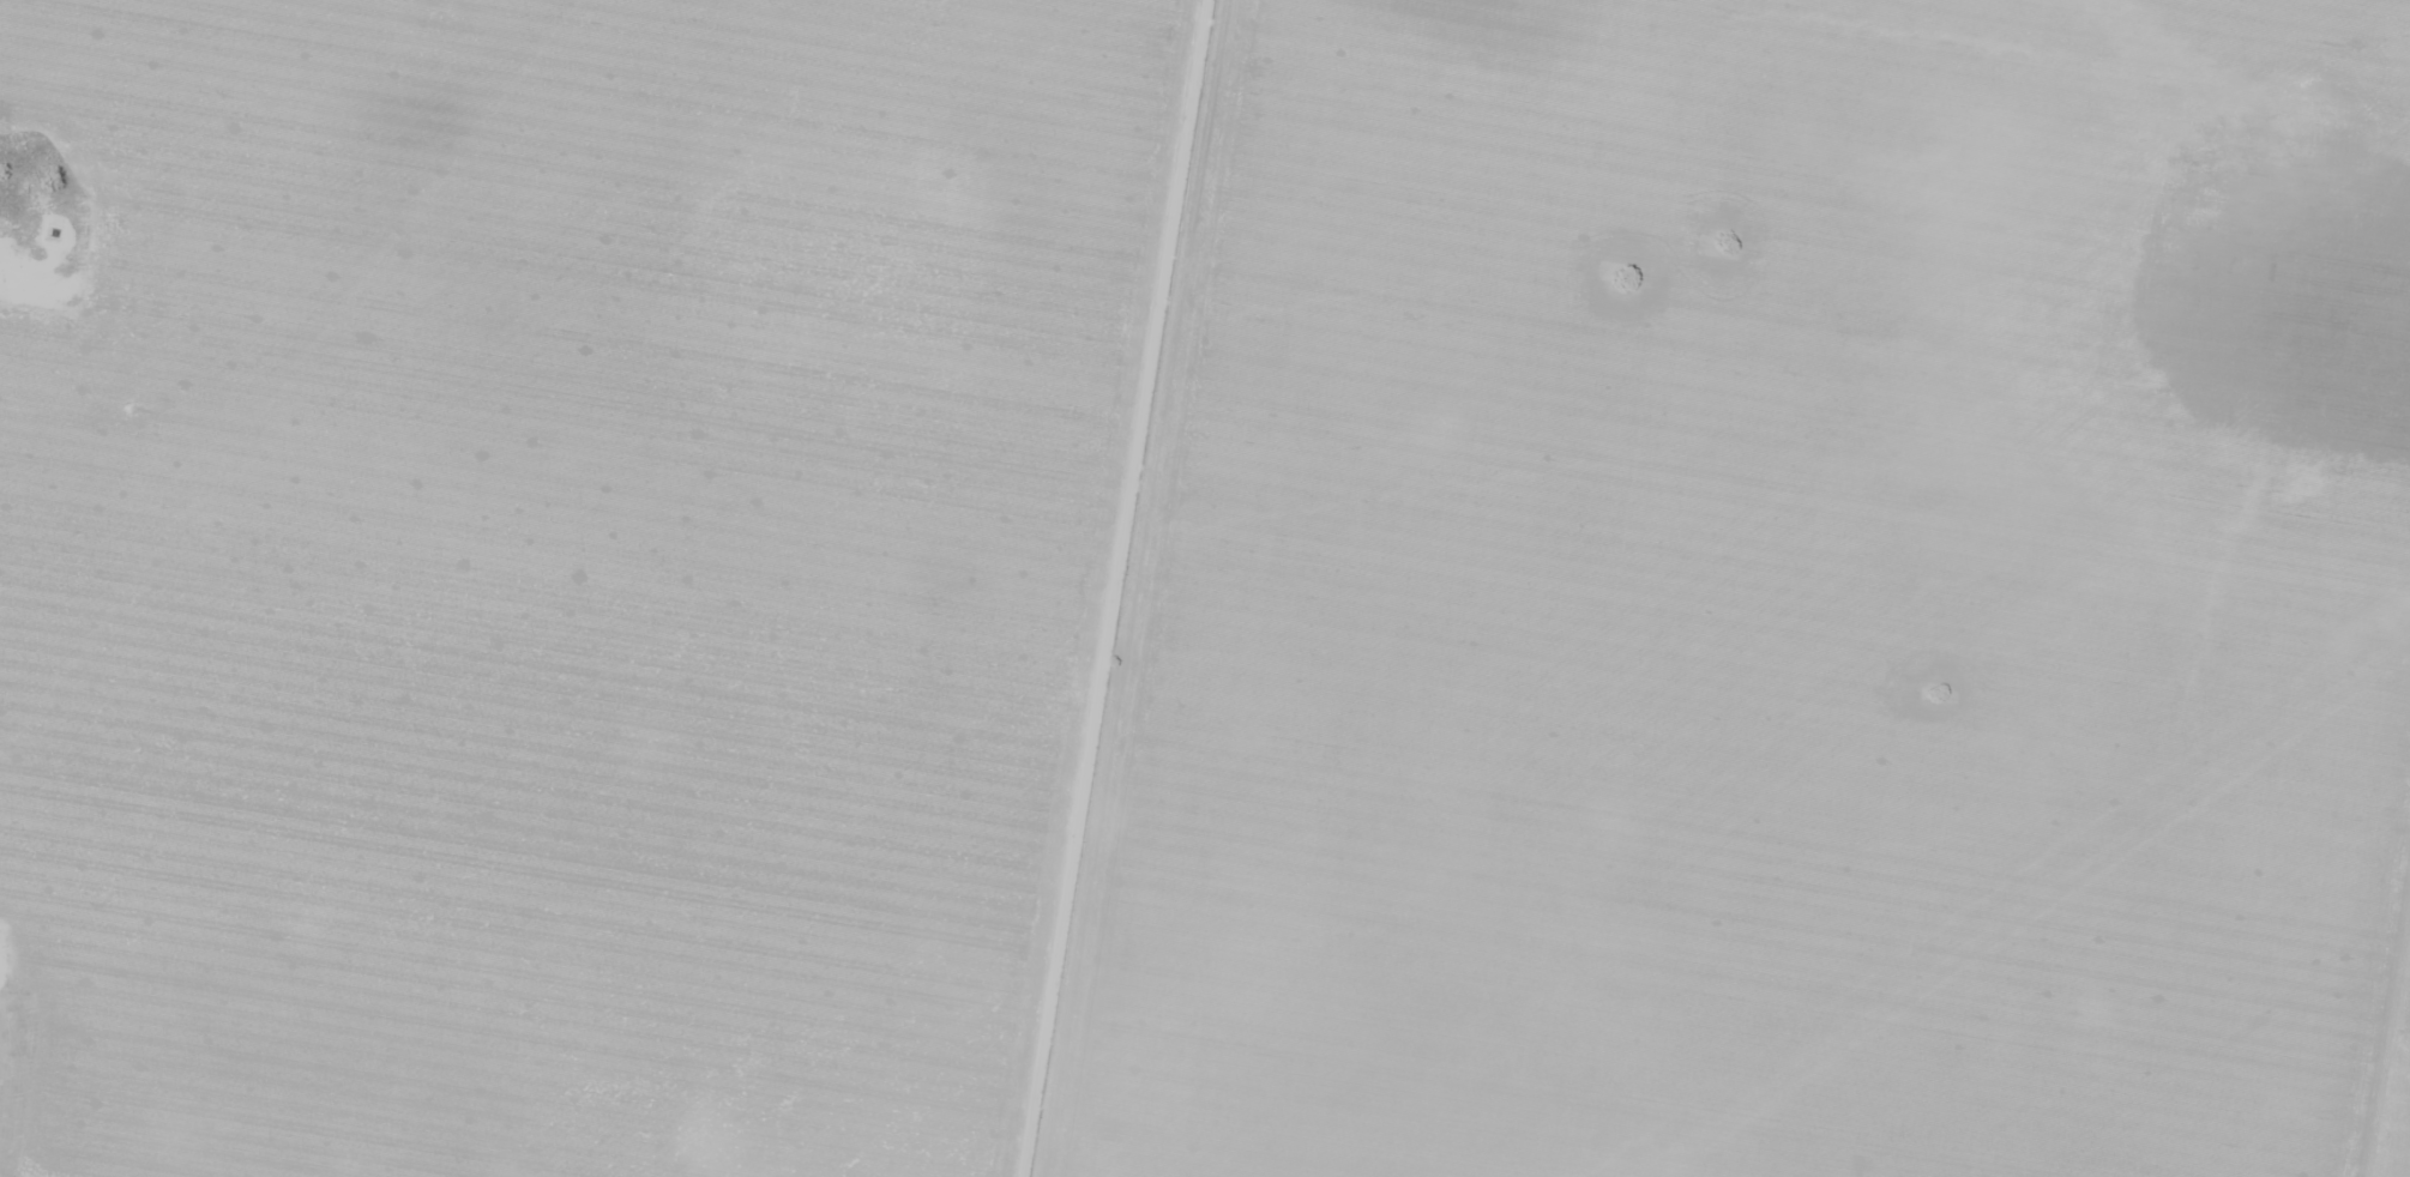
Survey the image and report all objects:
road: (1765, 584)
road: (1103, 588)
road: (2379, 990)

